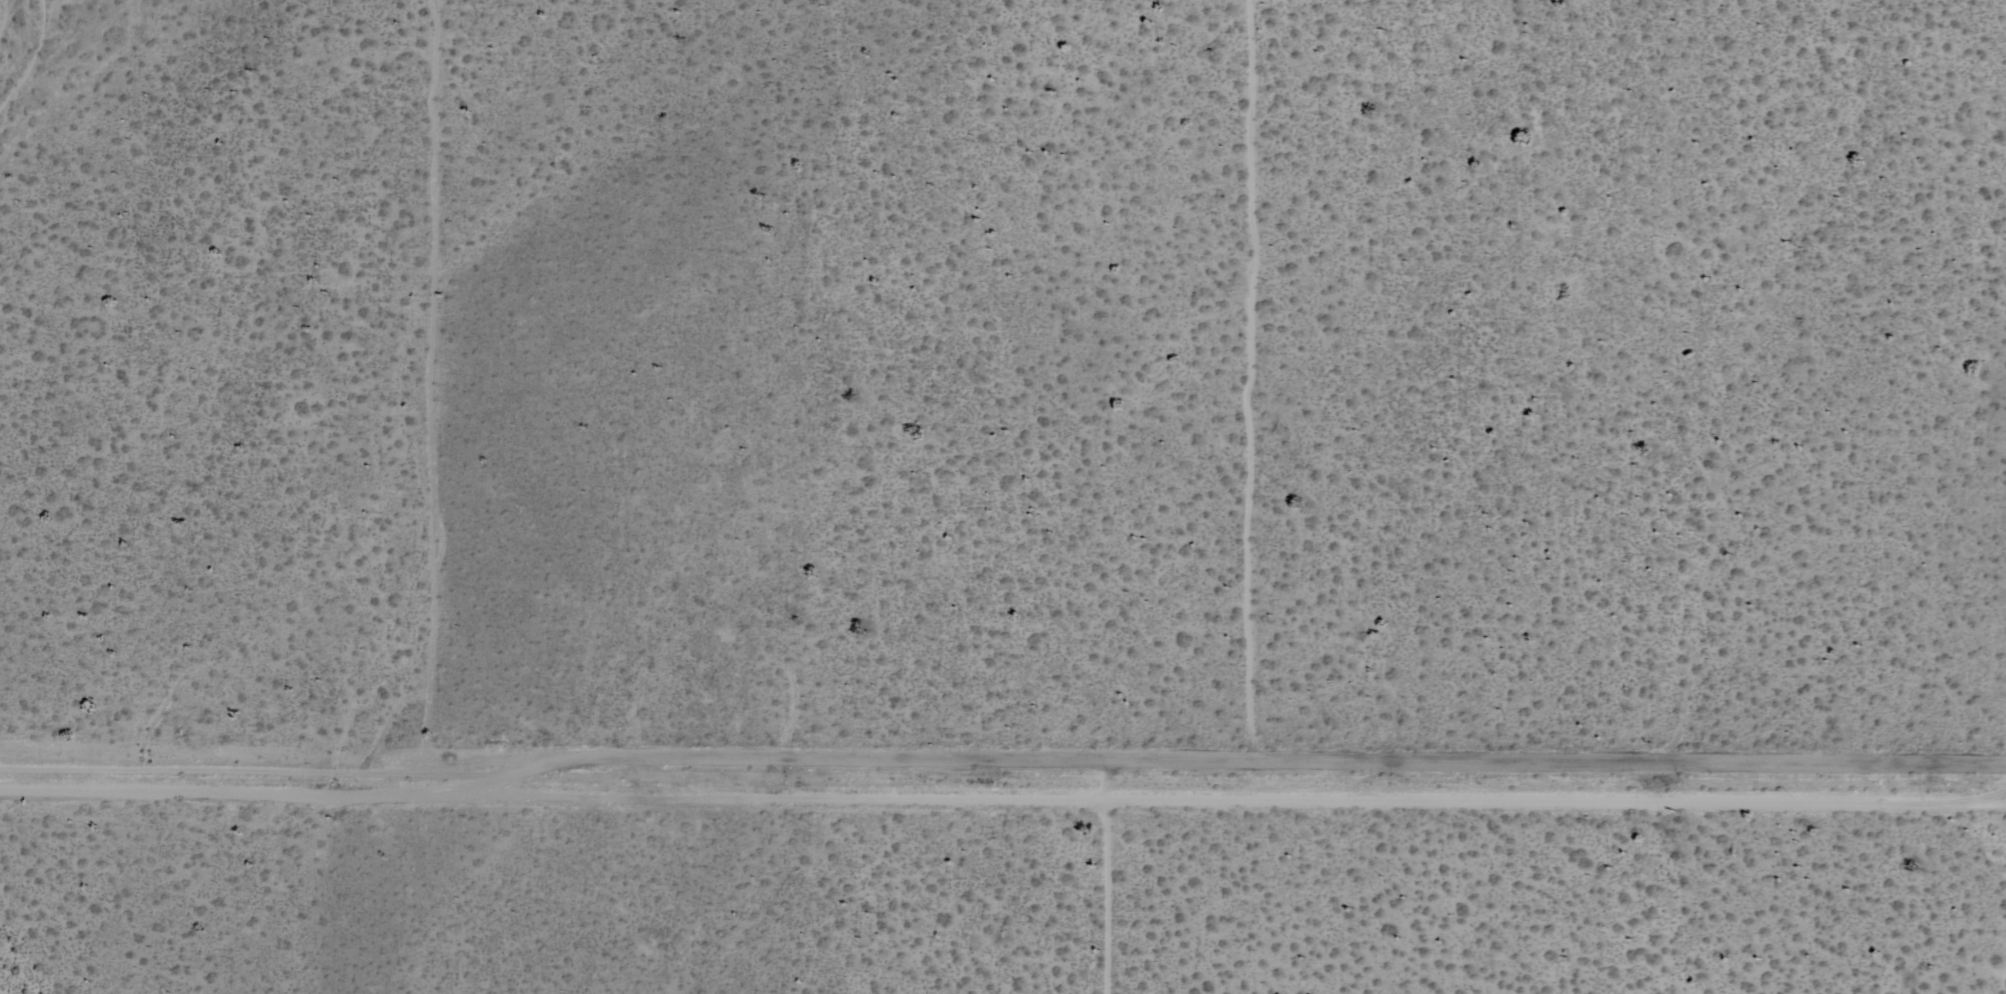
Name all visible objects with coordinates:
road: (1249, 376)
road: (423, 384)
road: (1003, 763)
road: (1104, 878)

